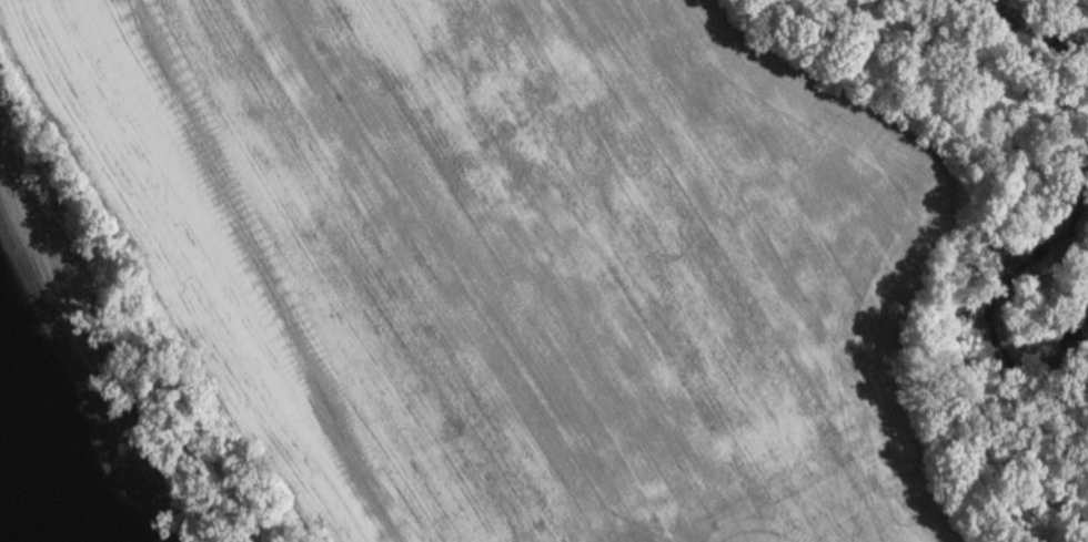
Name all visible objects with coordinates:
crop: (481, 258)

